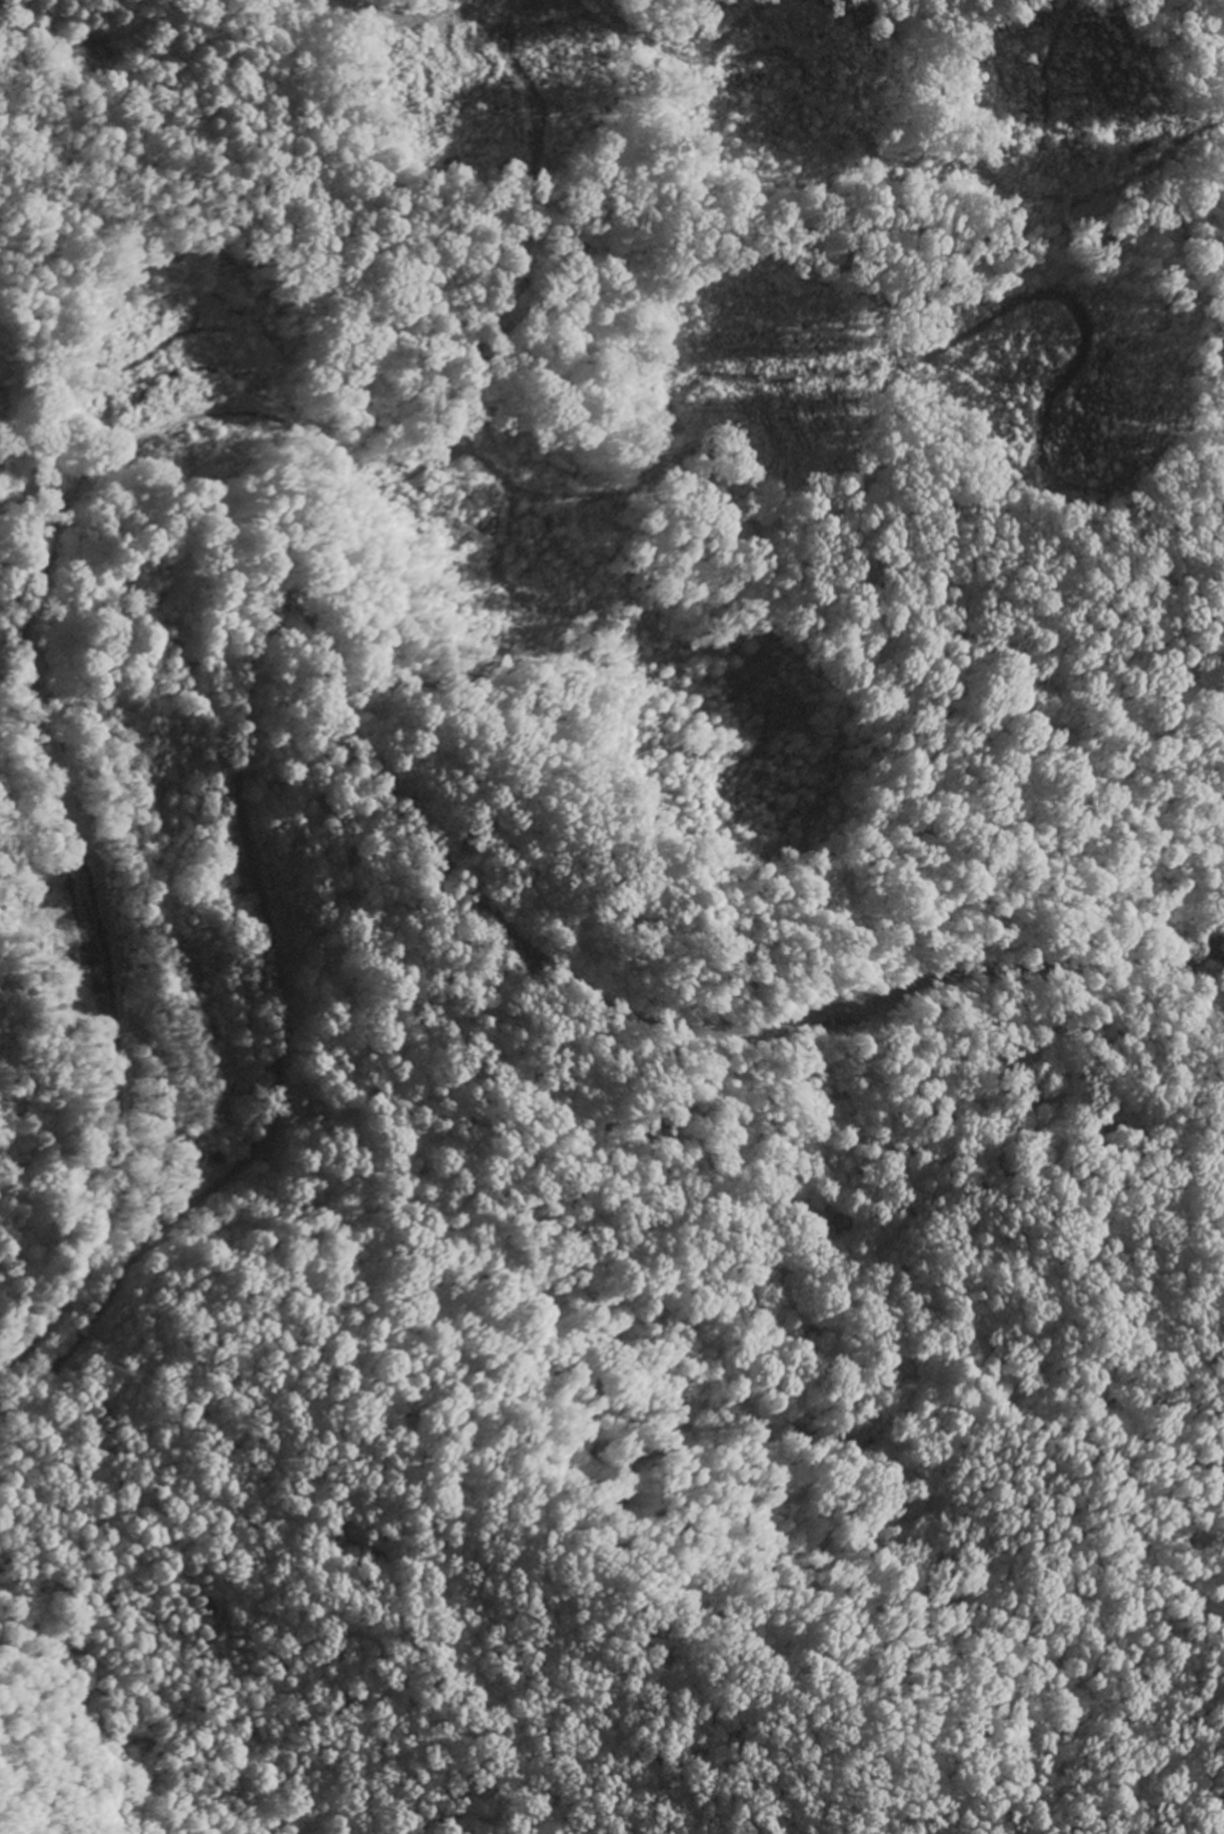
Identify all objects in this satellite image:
road: (333, 707)
road: (1218, 940)
road: (133, 1112)
road: (1026, 1694)

